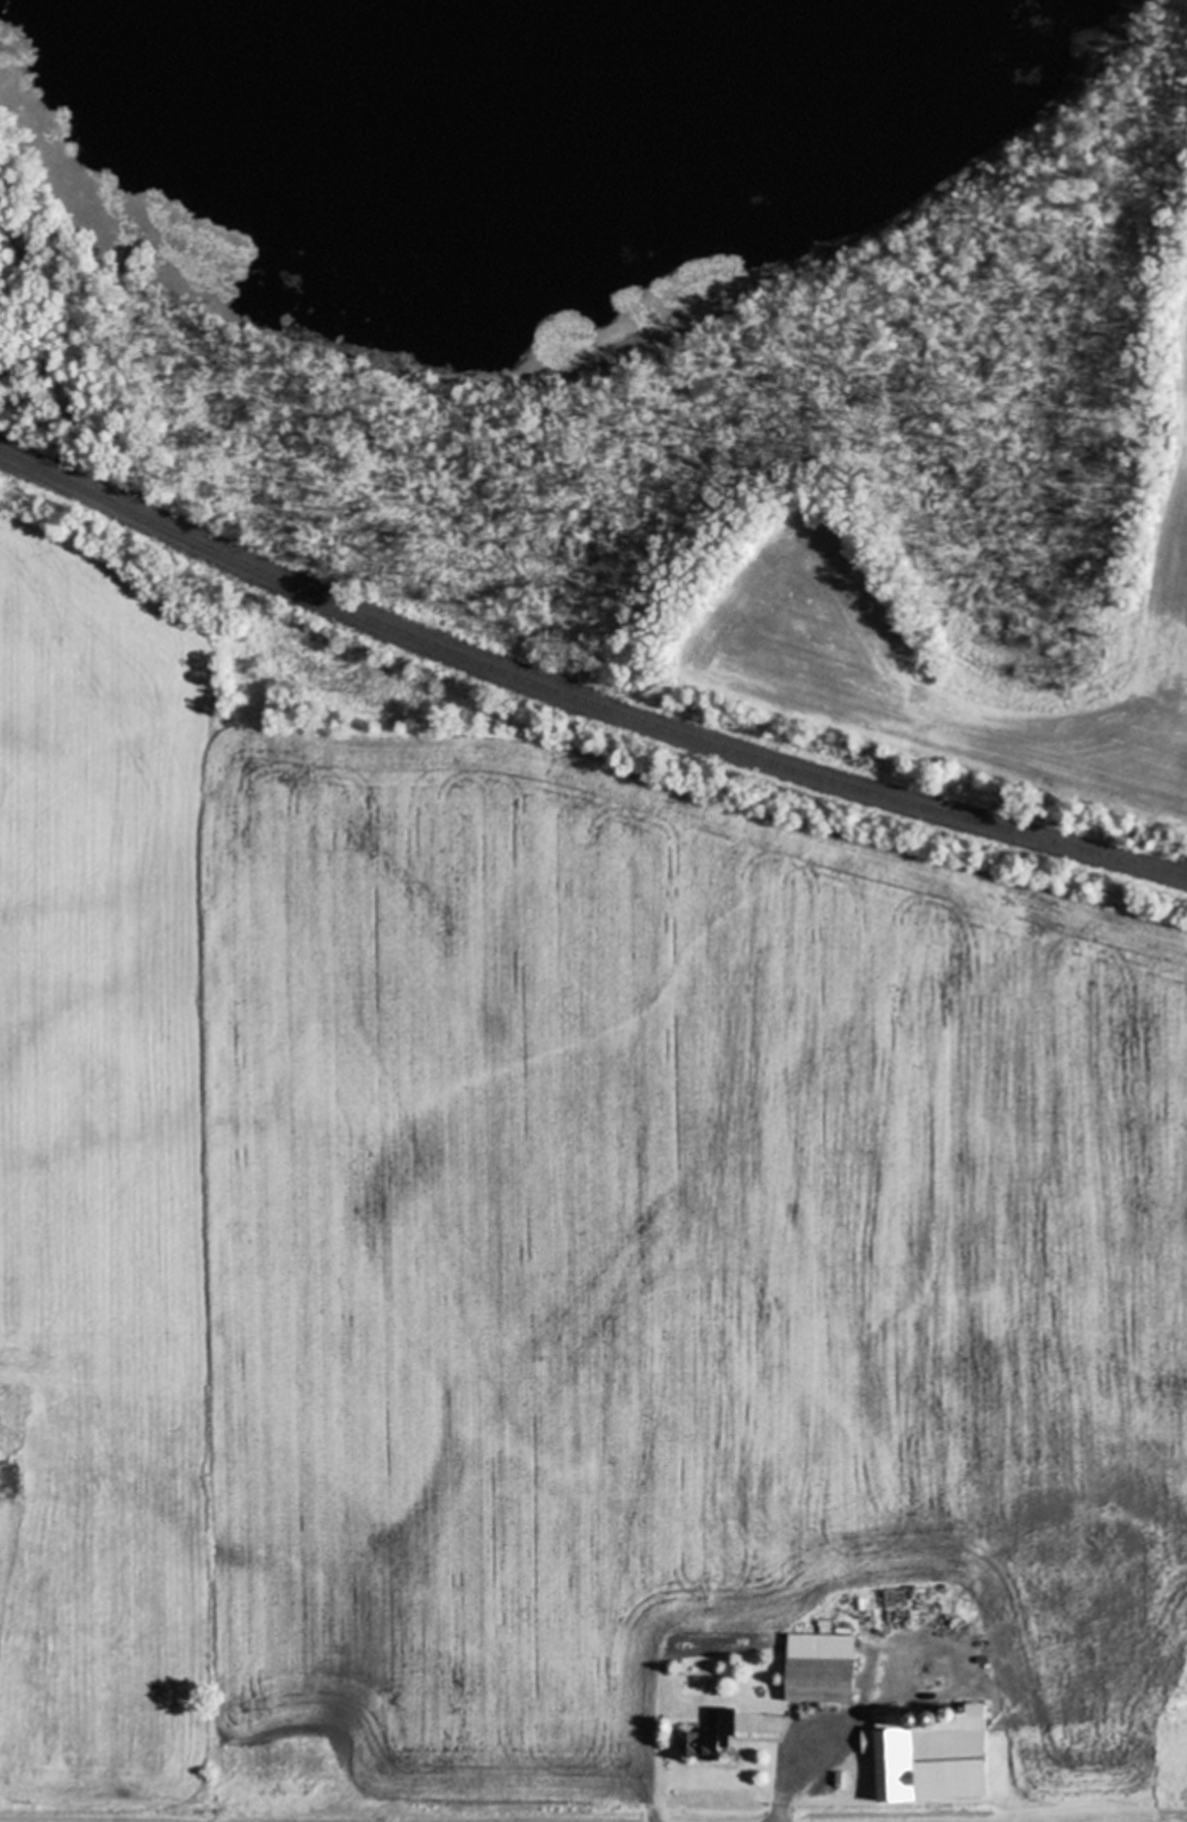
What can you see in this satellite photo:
railway: (580, 699)
building: (830, 1631)
building: (820, 1670)
building: (707, 1736)
road: (790, 1779)

